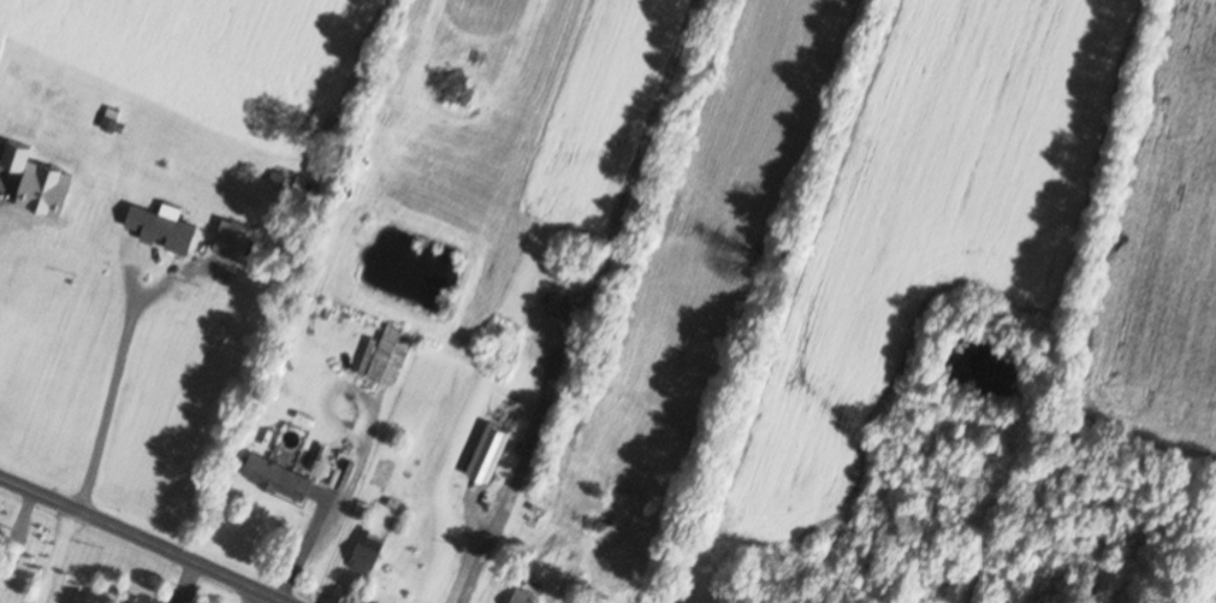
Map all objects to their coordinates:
building: (112, 118)
building: (64, 172)
building: (164, 226)
building: (392, 354)
building: (488, 450)
building: (382, 474)
building: (279, 477)
road: (148, 537)
building: (876, 543)
building: (368, 552)
building: (524, 596)
building: (135, 602)

